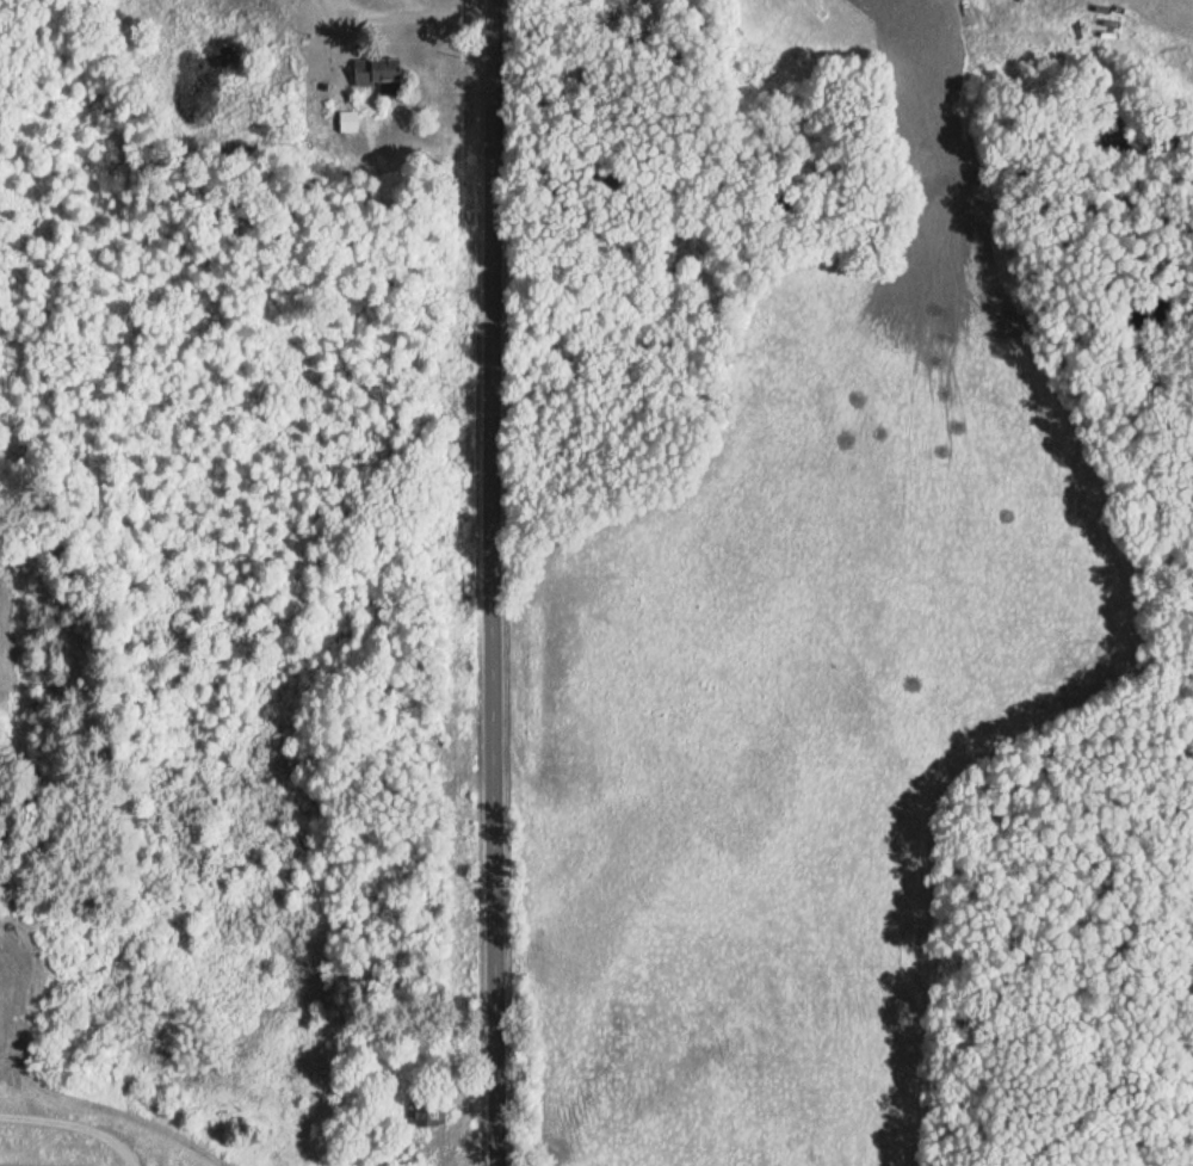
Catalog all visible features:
building: (381, 70)
road: (494, 582)

